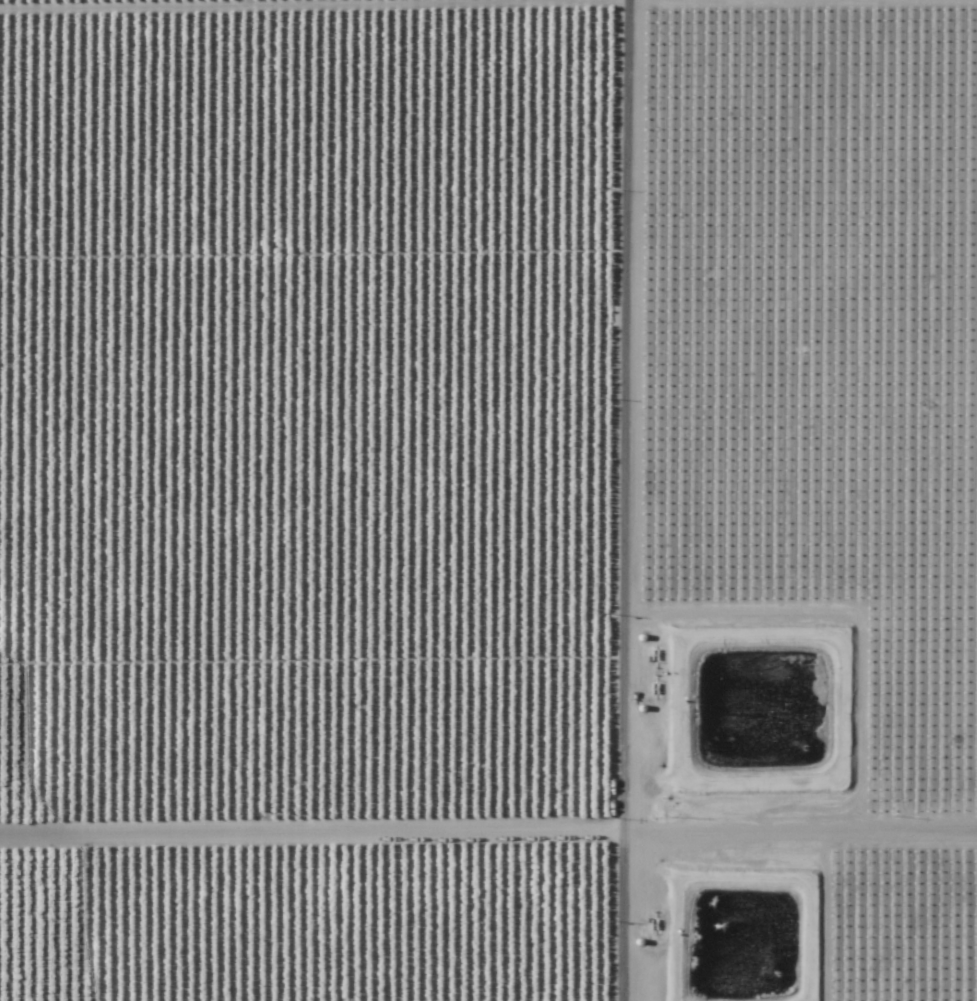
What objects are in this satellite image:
road: (638, 417)
road: (808, 834)
road: (612, 914)

